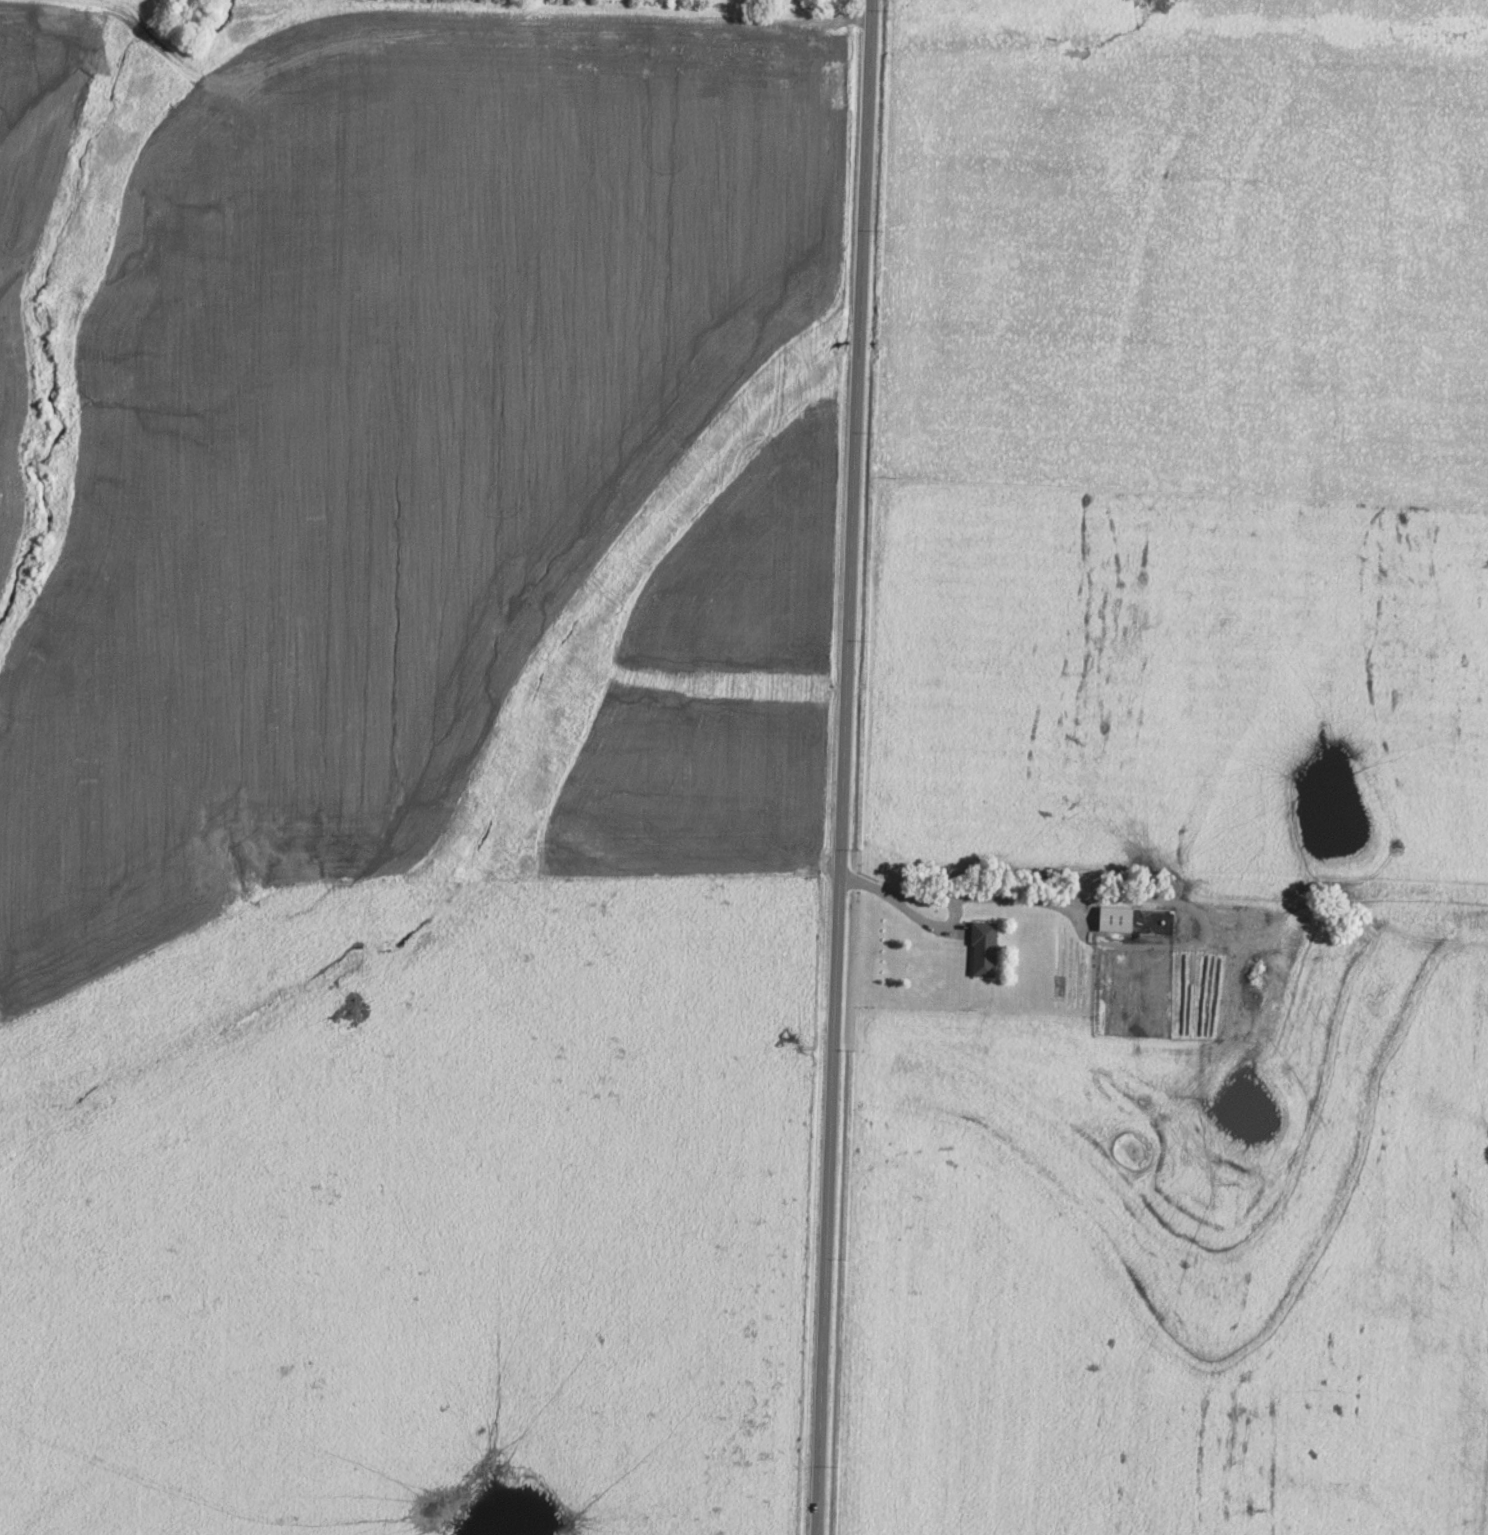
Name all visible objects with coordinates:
road: (460, 8)
road: (845, 767)
road: (906, 907)
building: (1114, 917)
building: (982, 947)

